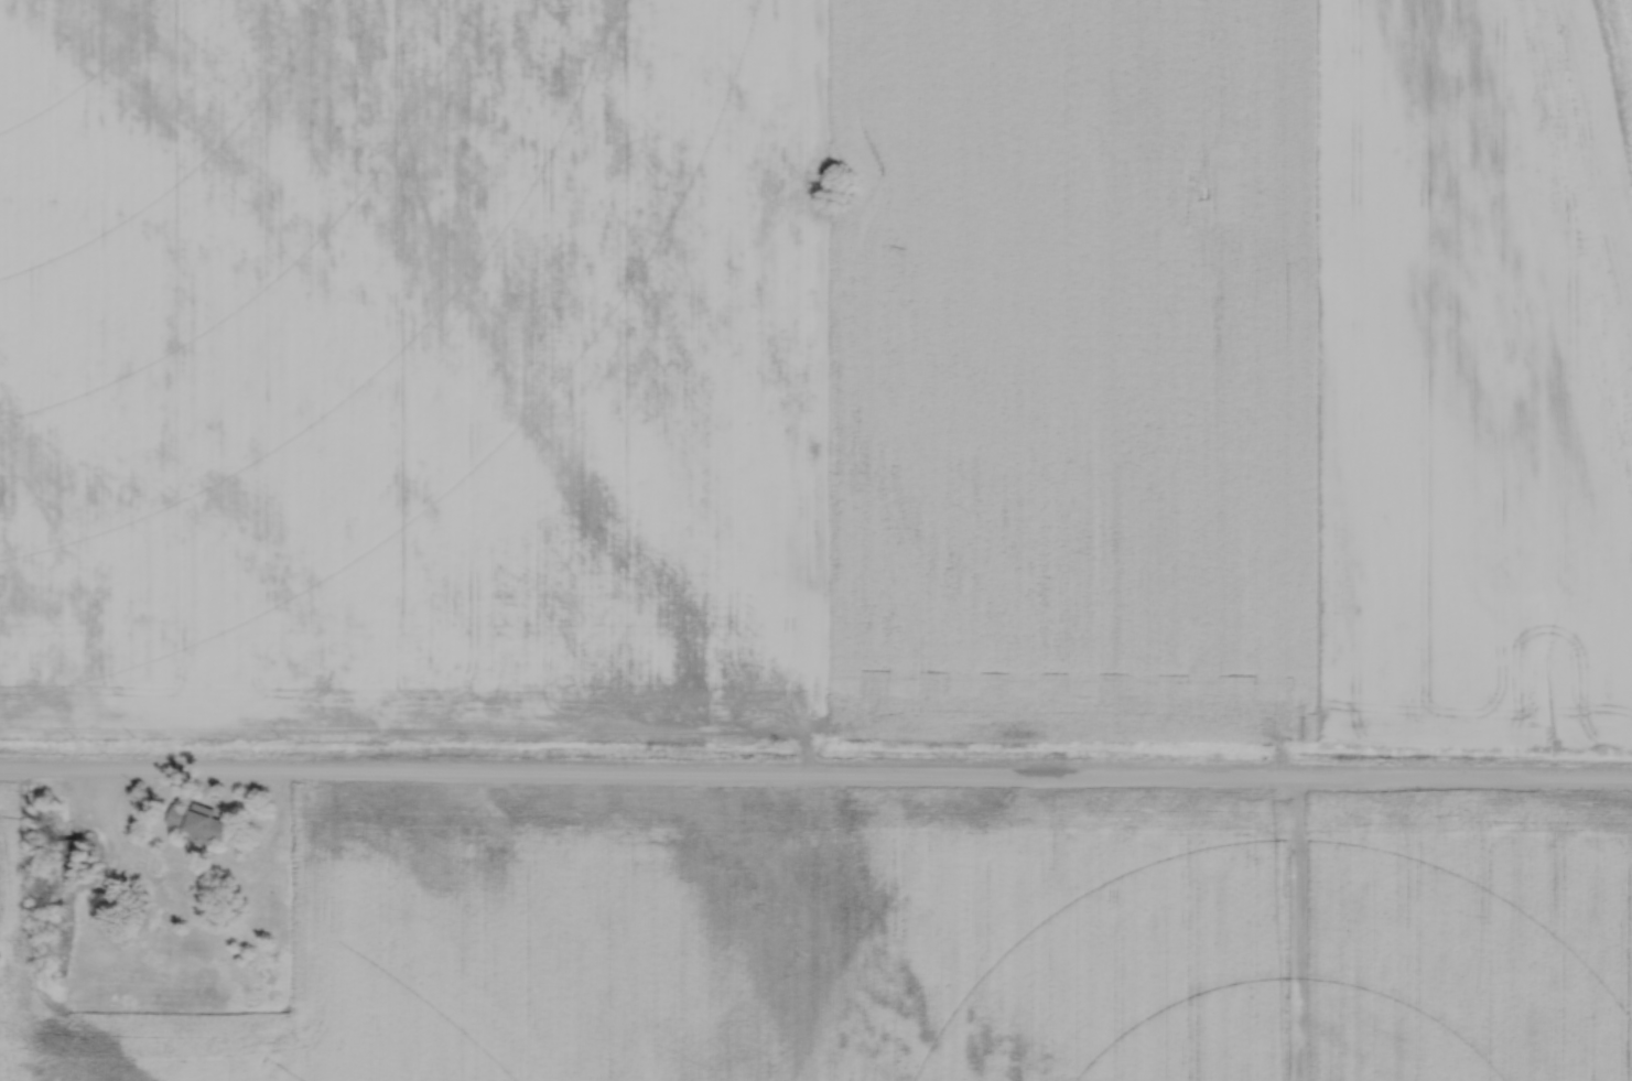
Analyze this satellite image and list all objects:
road: (815, 779)
building: (199, 820)
building: (116, 907)

